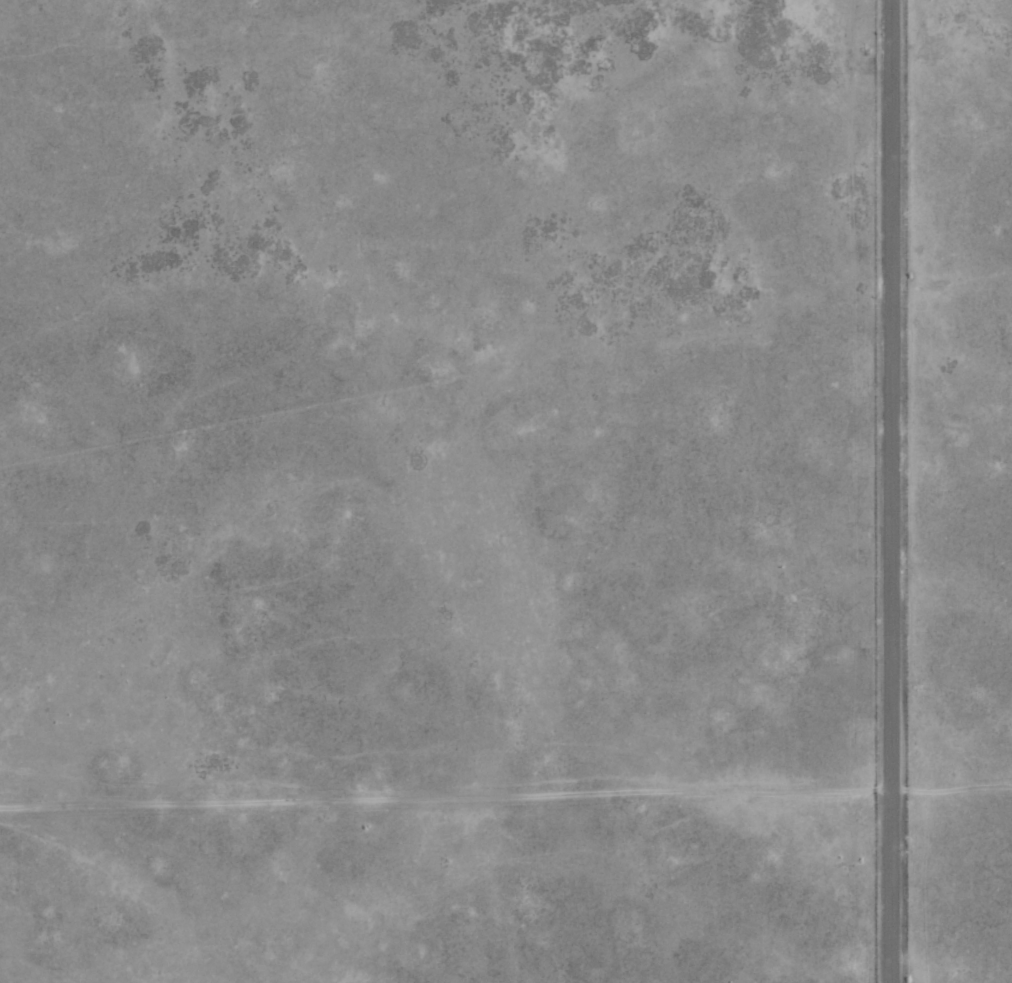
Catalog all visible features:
road: (887, 491)

